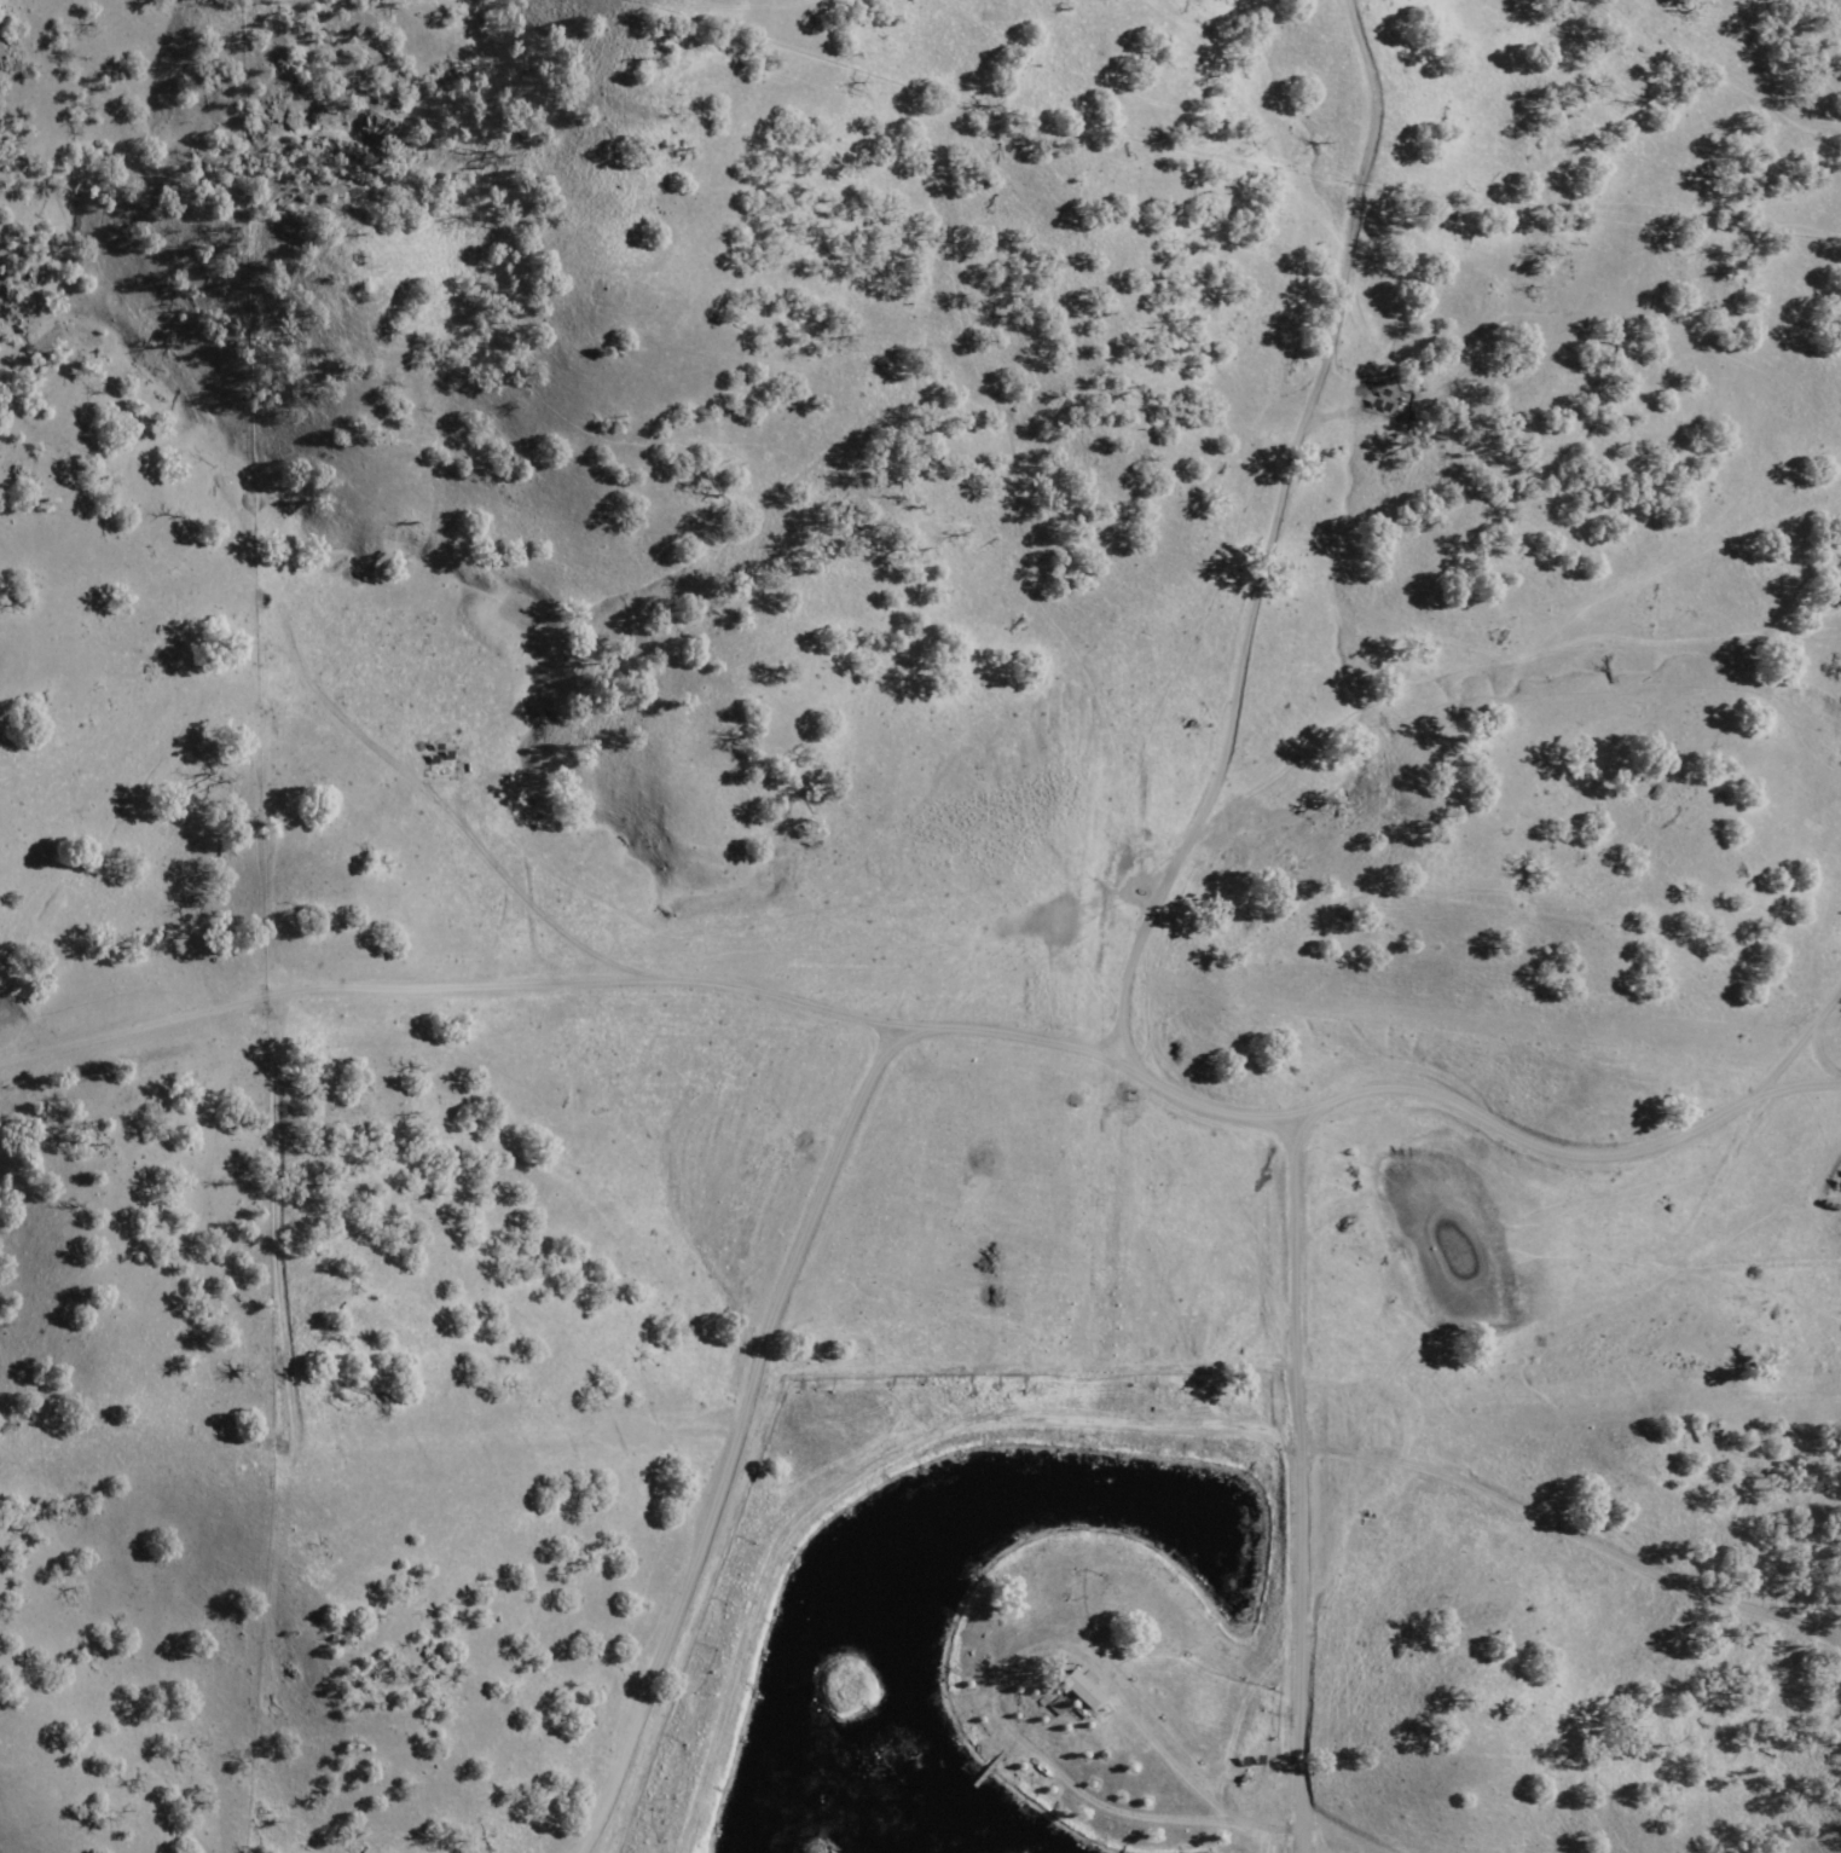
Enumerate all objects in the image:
road: (1222, 415)
road: (22, 1017)
road: (946, 1042)
road: (742, 1440)
road: (1309, 1498)
building: (1076, 1689)
building: (1053, 1707)

